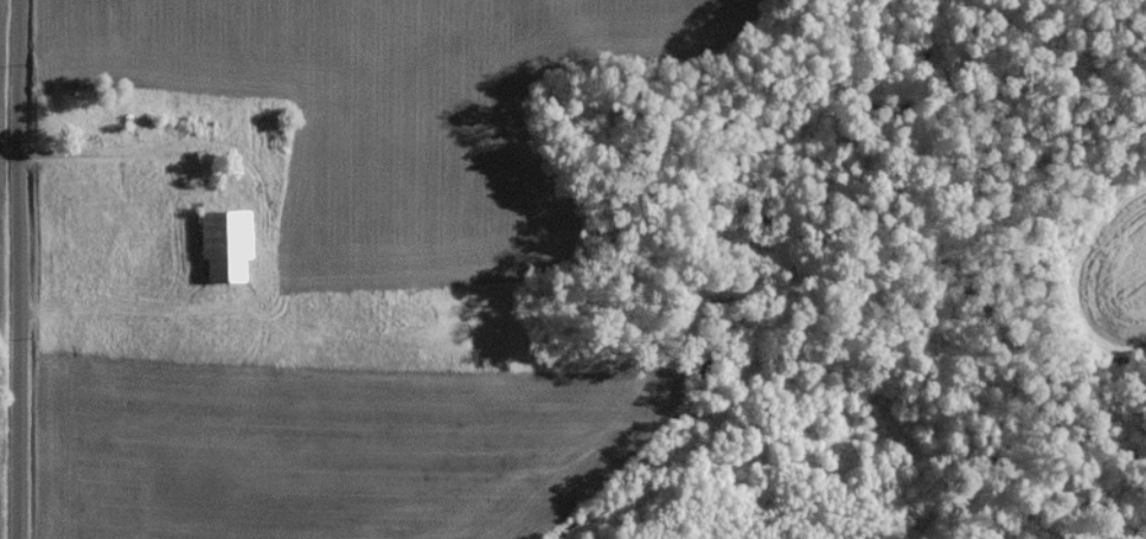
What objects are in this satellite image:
building: (216, 249)
road: (24, 269)

